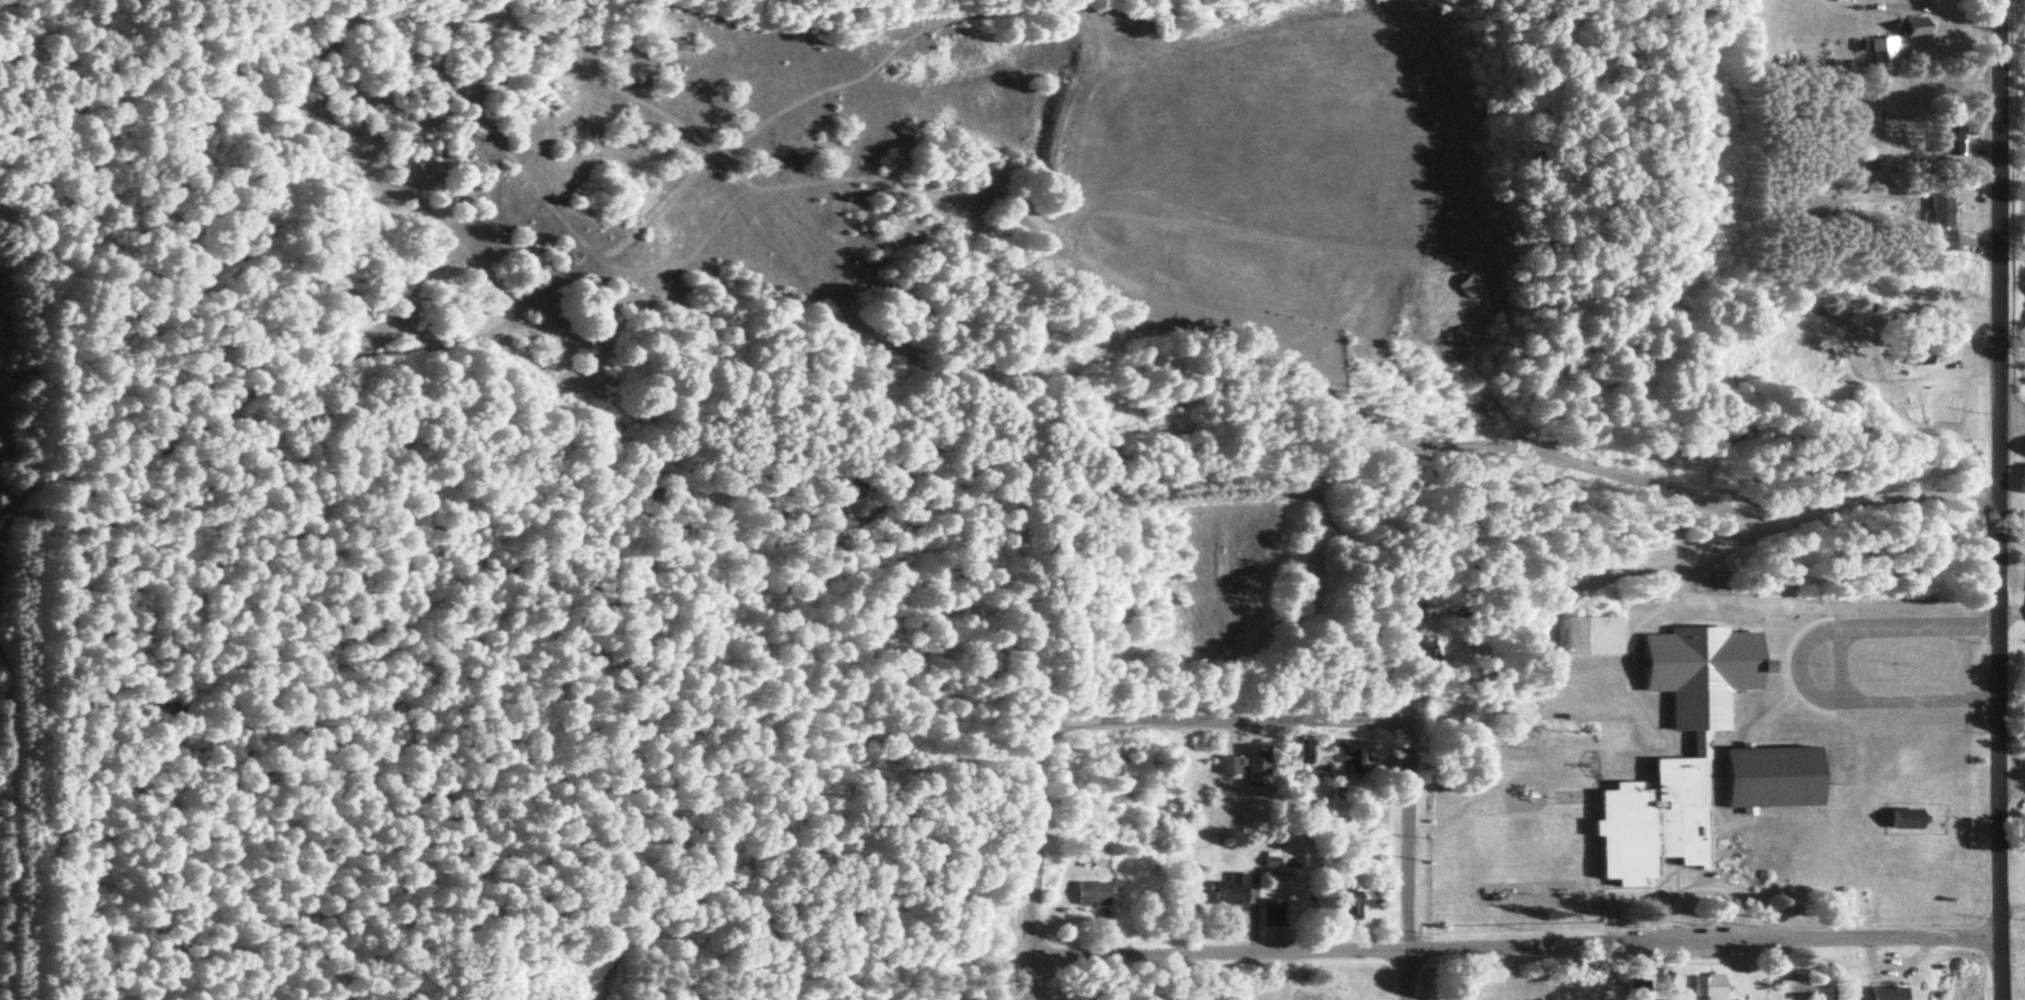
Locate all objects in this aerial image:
building: (1915, 28)
building: (1881, 54)
building: (1952, 139)
building: (1941, 222)
road: (1975, 246)
road: (876, 331)
building: (1917, 358)
road: (2009, 424)
road: (1443, 450)
road: (1993, 500)
road: (1665, 555)
road: (2009, 612)
building: (1594, 633)
building: (1429, 654)
road: (1836, 664)
parking lot: (1897, 664)
road: (1794, 666)
road: (1313, 722)
road: (1227, 737)
building: (1320, 755)
building: (1697, 757)
building: (1349, 758)
building: (1249, 766)
road: (1028, 770)
road: (2009, 792)
building: (1187, 811)
building: (1905, 818)
road: (1403, 861)
building: (1231, 893)
building: (1092, 895)
building: (1349, 900)
road: (2009, 910)
building: (1271, 914)
road: (1510, 945)
building: (1714, 986)
building: (1809, 988)
building: (1888, 994)
building: (1303, 997)

